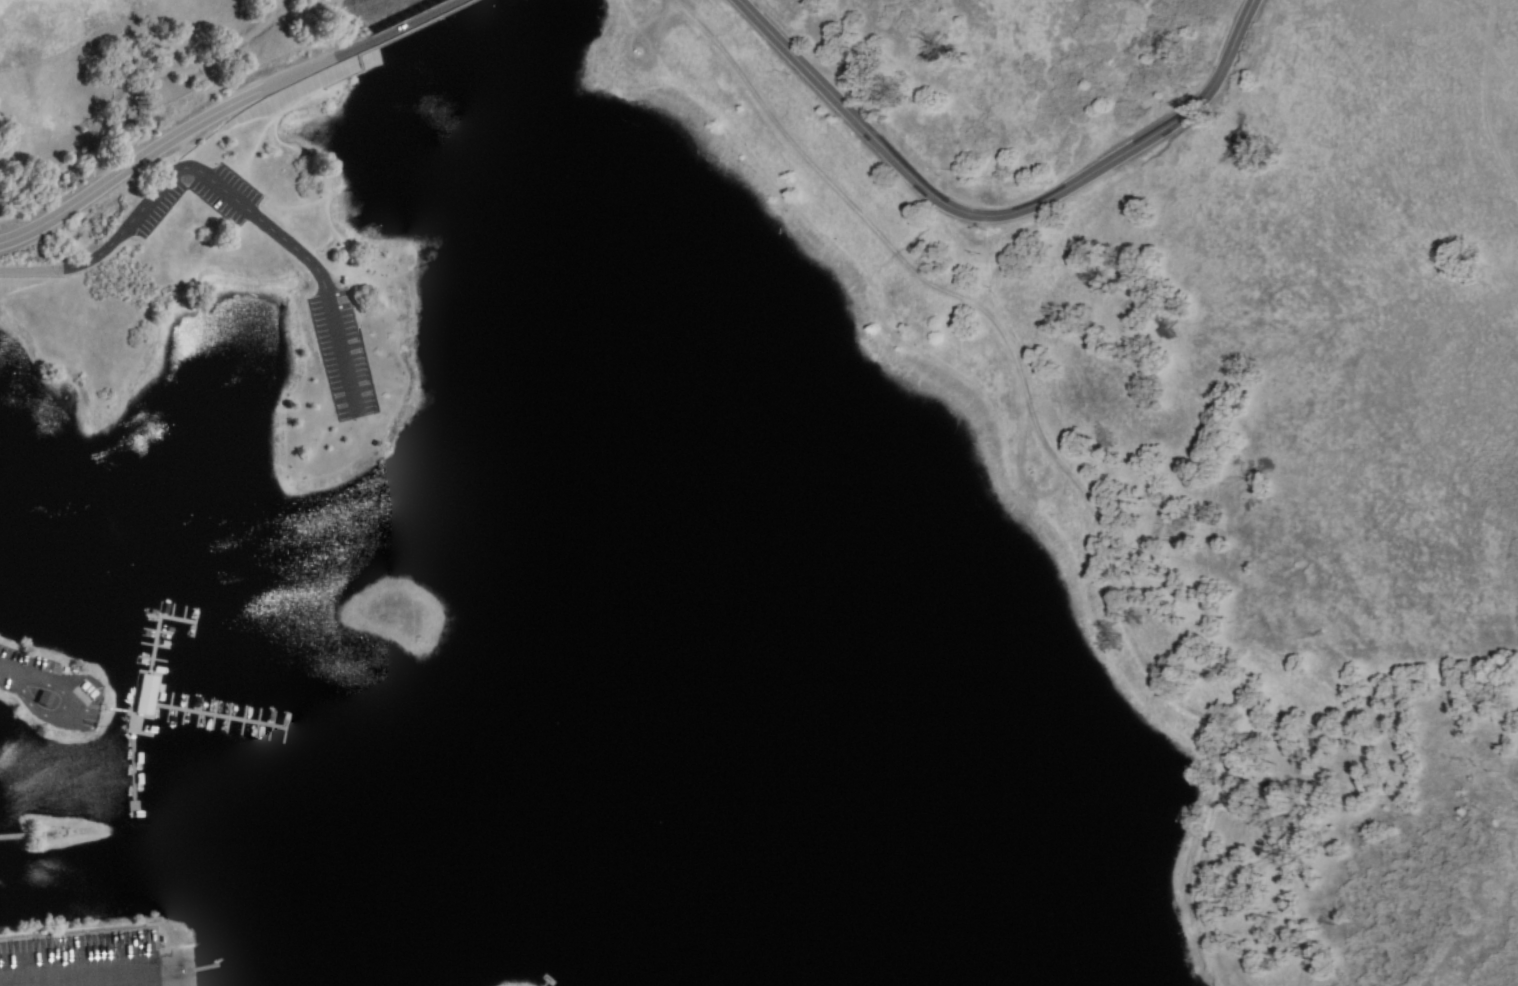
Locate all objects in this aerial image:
road: (218, 113)
road: (997, 216)
pier: (140, 697)
pier: (116, 714)
pier: (210, 726)

